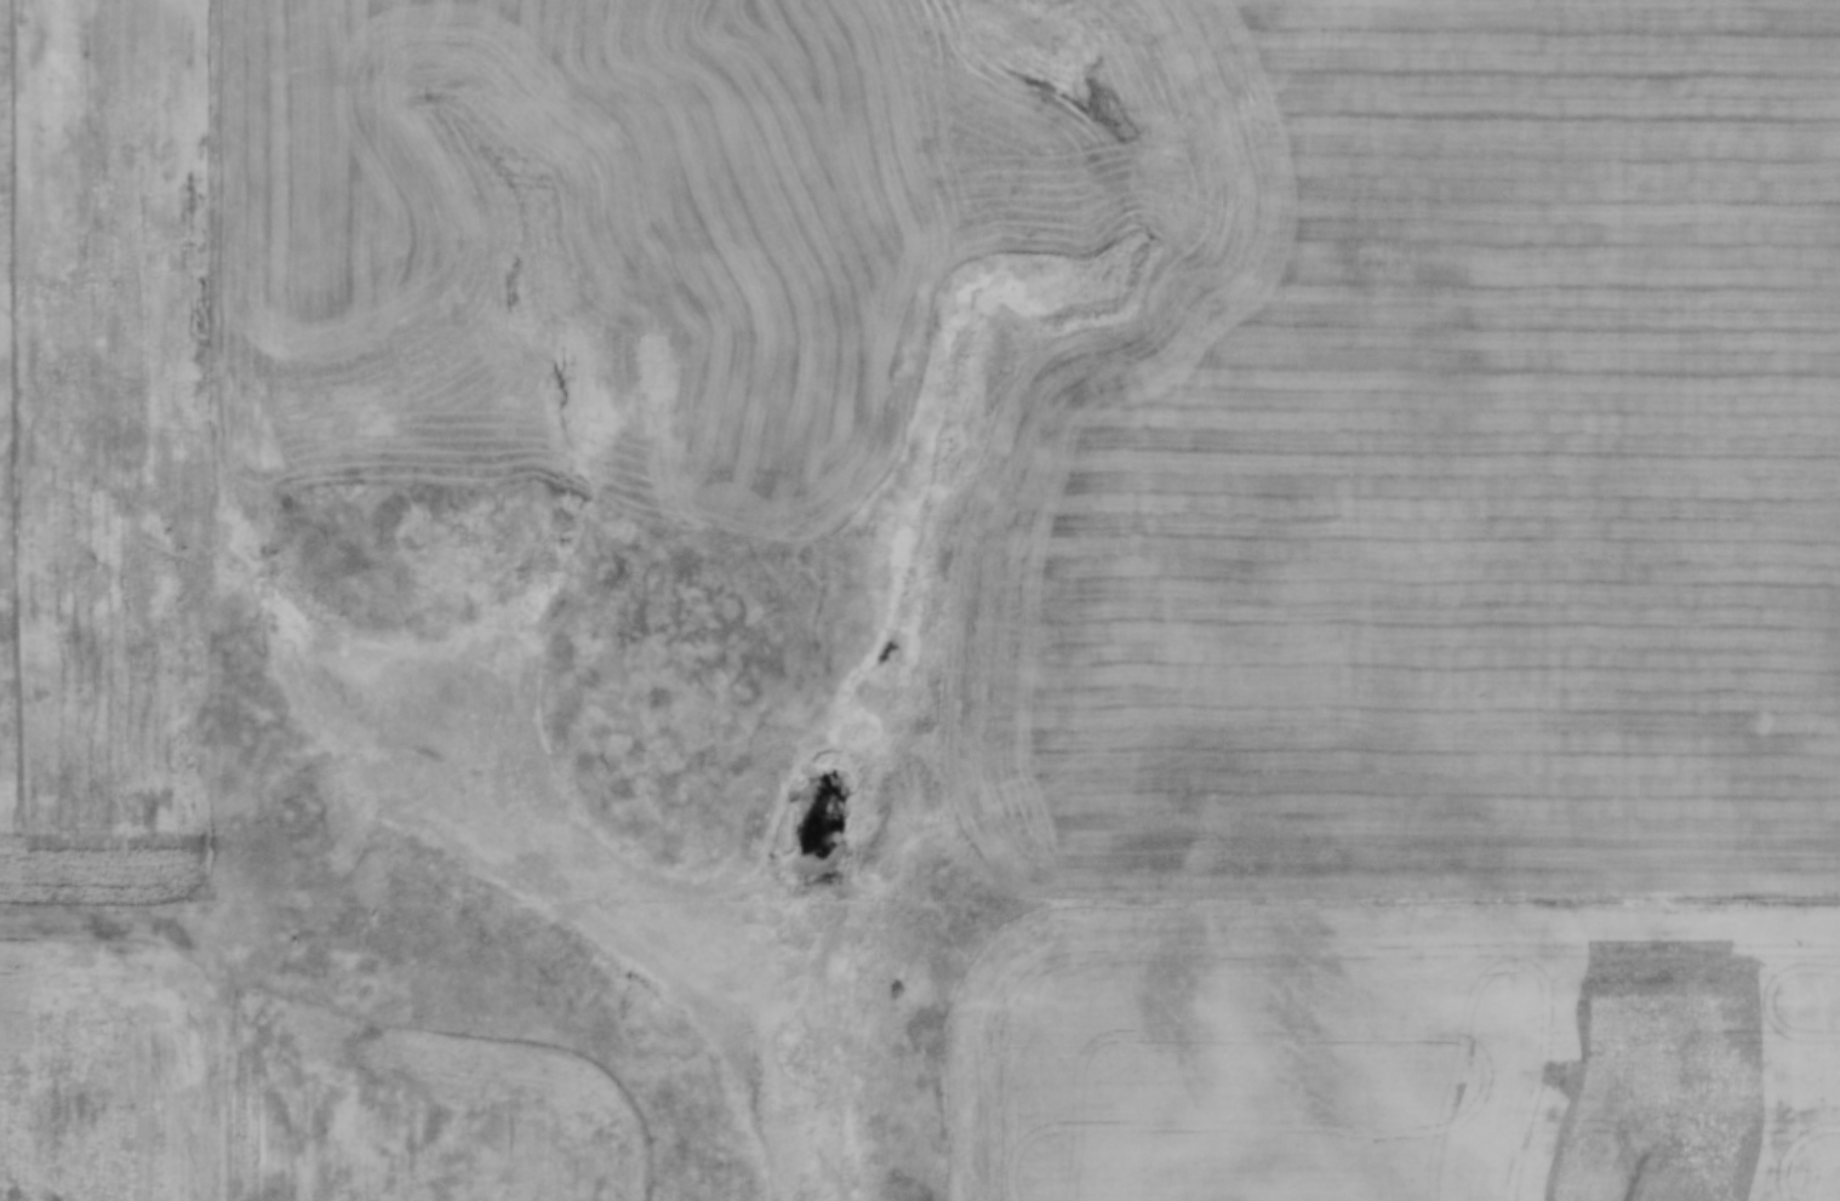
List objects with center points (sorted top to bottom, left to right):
road: (1358, 627)
road: (218, 971)

